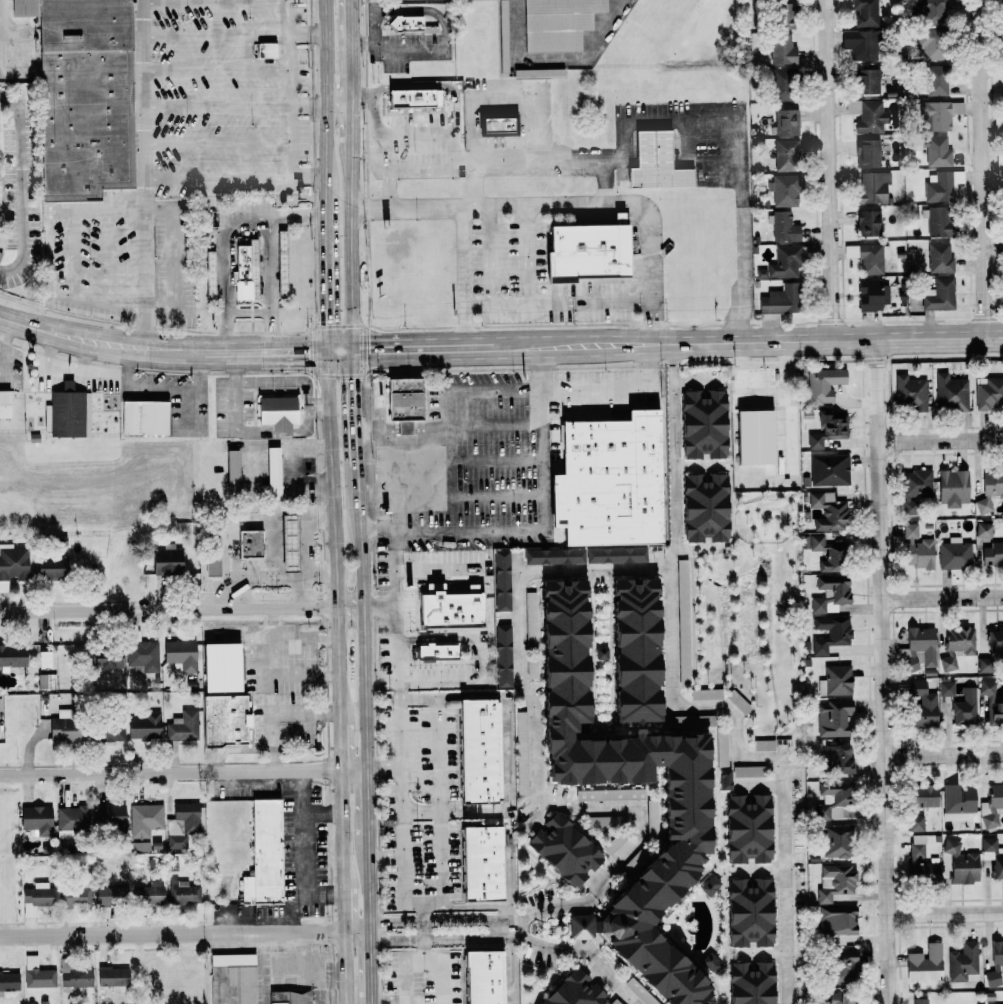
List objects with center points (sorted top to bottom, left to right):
road: (214, 2)
building: (928, 11)
building: (865, 12)
building: (780, 16)
road: (347, 22)
building: (557, 23)
building: (405, 24)
road: (4, 33)
road: (215, 34)
road: (305, 34)
building: (502, 40)
building: (930, 44)
building: (861, 45)
road: (390, 48)
building: (781, 49)
building: (265, 50)
road: (215, 69)
road: (348, 73)
building: (867, 81)
building: (935, 81)
building: (782, 85)
road: (431, 86)
road: (288, 87)
building: (81, 96)
building: (412, 100)
road: (336, 103)
road: (306, 104)
road: (215, 105)
building: (937, 115)
building: (868, 116)
road: (324, 119)
building: (784, 122)
building: (998, 123)
building: (499, 124)
road: (349, 128)
road: (216, 142)
building: (936, 151)
building: (867, 153)
building: (785, 155)
road: (587, 157)
building: (999, 159)
building: (654, 163)
road: (983, 169)
road: (827, 170)
road: (425, 171)
road: (144, 174)
road: (307, 176)
road: (217, 177)
road: (603, 180)
road: (475, 181)
building: (941, 185)
road: (21, 186)
building: (872, 188)
road: (388, 189)
building: (783, 190)
road: (568, 203)
road: (125, 208)
road: (740, 212)
road: (591, 213)
building: (1002, 213)
road: (298, 218)
building: (620, 218)
road: (249, 219)
building: (935, 221)
road: (640, 222)
building: (867, 223)
building: (783, 227)
building: (1000, 250)
road: (350, 251)
road: (71, 253)
building: (588, 253)
road: (527, 254)
road: (109, 255)
road: (489, 255)
road: (174, 257)
building: (867, 257)
building: (939, 258)
building: (280, 263)
building: (782, 263)
building: (244, 271)
building: (208, 275)
road: (462, 277)
road: (327, 295)
building: (871, 295)
building: (938, 295)
building: (779, 300)
road: (120, 303)
road: (556, 304)
road: (248, 312)
road: (676, 343)
road: (161, 349)
road: (338, 351)
road: (672, 356)
road: (234, 366)
road: (695, 380)
road: (248, 381)
building: (822, 384)
road: (610, 386)
road: (495, 389)
building: (910, 392)
building: (950, 393)
building: (988, 393)
building: (402, 403)
building: (4, 404)
road: (452, 407)
road: (352, 408)
building: (66, 412)
building: (143, 418)
road: (488, 423)
building: (702, 424)
road: (307, 427)
building: (826, 428)
road: (280, 432)
road: (374, 432)
building: (753, 437)
road: (416, 439)
road: (940, 440)
parking lot: (480, 458)
road: (489, 461)
road: (682, 464)
road: (721, 464)
road: (697, 466)
road: (303, 468)
building: (828, 469)
building: (230, 471)
building: (270, 476)
road: (438, 477)
building: (606, 479)
building: (952, 488)
building: (915, 490)
building: (990, 491)
road: (394, 494)
road: (490, 496)
building: (703, 508)
building: (827, 512)
road: (542, 528)
building: (983, 530)
road: (312, 537)
road: (333, 537)
building: (287, 543)
building: (249, 544)
road: (699, 548)
building: (916, 548)
building: (825, 554)
building: (953, 554)
building: (615, 555)
building: (992, 555)
building: (553, 556)
building: (165, 560)
building: (11, 564)
building: (210, 565)
building: (49, 567)
road: (594, 569)
road: (439, 570)
road: (316, 575)
road: (263, 576)
building: (500, 581)
building: (681, 591)
building: (829, 594)
road: (942, 594)
road: (380, 607)
road: (672, 608)
road: (182, 609)
building: (448, 609)
road: (364, 616)
building: (829, 634)
road: (303, 637)
road: (454, 638)
building: (959, 640)
building: (991, 649)
building: (917, 650)
building: (435, 653)
building: (180, 655)
building: (12, 656)
building: (501, 656)
building: (106, 659)
building: (43, 660)
building: (946, 662)
road: (799, 663)
building: (220, 668)
building: (530, 669)
building: (683, 671)
road: (882, 671)
road: (271, 672)
road: (422, 680)
building: (46, 681)
building: (834, 681)
road: (699, 685)
building: (945, 688)
building: (986, 688)
building: (705, 694)
road: (419, 697)
building: (736, 702)
building: (921, 706)
building: (964, 708)
building: (995, 709)
road: (276, 712)
road: (612, 713)
building: (833, 719)
building: (223, 720)
building: (688, 721)
building: (144, 726)
building: (182, 727)
road: (399, 727)
building: (61, 728)
building: (109, 732)
building: (763, 746)
road: (338, 747)
building: (721, 748)
building: (478, 751)
road: (943, 753)
road: (507, 755)
building: (838, 759)
building: (521, 761)
road: (383, 768)
road: (353, 769)
road: (169, 772)
building: (747, 772)
road: (536, 776)
road: (762, 779)
building: (724, 780)
road: (758, 787)
building: (609, 795)
road: (440, 800)
building: (830, 801)
road: (368, 803)
building: (957, 803)
building: (919, 804)
building: (991, 806)
building: (651, 809)
road: (421, 812)
road: (320, 813)
road: (536, 817)
building: (71, 818)
building: (108, 818)
building: (35, 819)
building: (605, 822)
building: (143, 824)
building: (183, 824)
road: (341, 828)
building: (747, 830)
building: (834, 841)
building: (563, 849)
road: (299, 854)
building: (263, 855)
road: (385, 856)
building: (993, 856)
building: (919, 860)
building: (481, 863)
building: (960, 863)
road: (717, 866)
road: (761, 870)
road: (730, 875)
road: (786, 880)
building: (834, 882)
road: (369, 884)
building: (709, 885)
building: (182, 892)
building: (147, 893)
building: (36, 894)
building: (108, 895)
building: (73, 896)
road: (586, 900)
road: (422, 904)
road: (475, 907)
road: (343, 909)
road: (542, 909)
road: (945, 910)
road: (289, 911)
building: (749, 912)
road: (510, 917)
road: (439, 920)
building: (836, 923)
building: (579, 926)
road: (580, 927)
road: (357, 930)
road: (424, 931)
road: (172, 933)
road: (439, 939)
road: (543, 945)
road: (736, 950)
road: (588, 952)
road: (763, 953)
road: (423, 959)
building: (710, 962)
building: (963, 963)
building: (924, 964)
road: (370, 965)
building: (995, 965)
building: (842, 966)
road: (345, 967)
building: (36, 974)
building: (73, 975)
building: (111, 976)
building: (483, 977)
building: (232, 978)
building: (8, 980)
road: (614, 980)
building: (750, 983)
building: (573, 991)
building: (638, 992)
building: (287, 997)
building: (838, 997)
road: (388, 1000)
building: (919, 1001)
road: (371, 1002)

